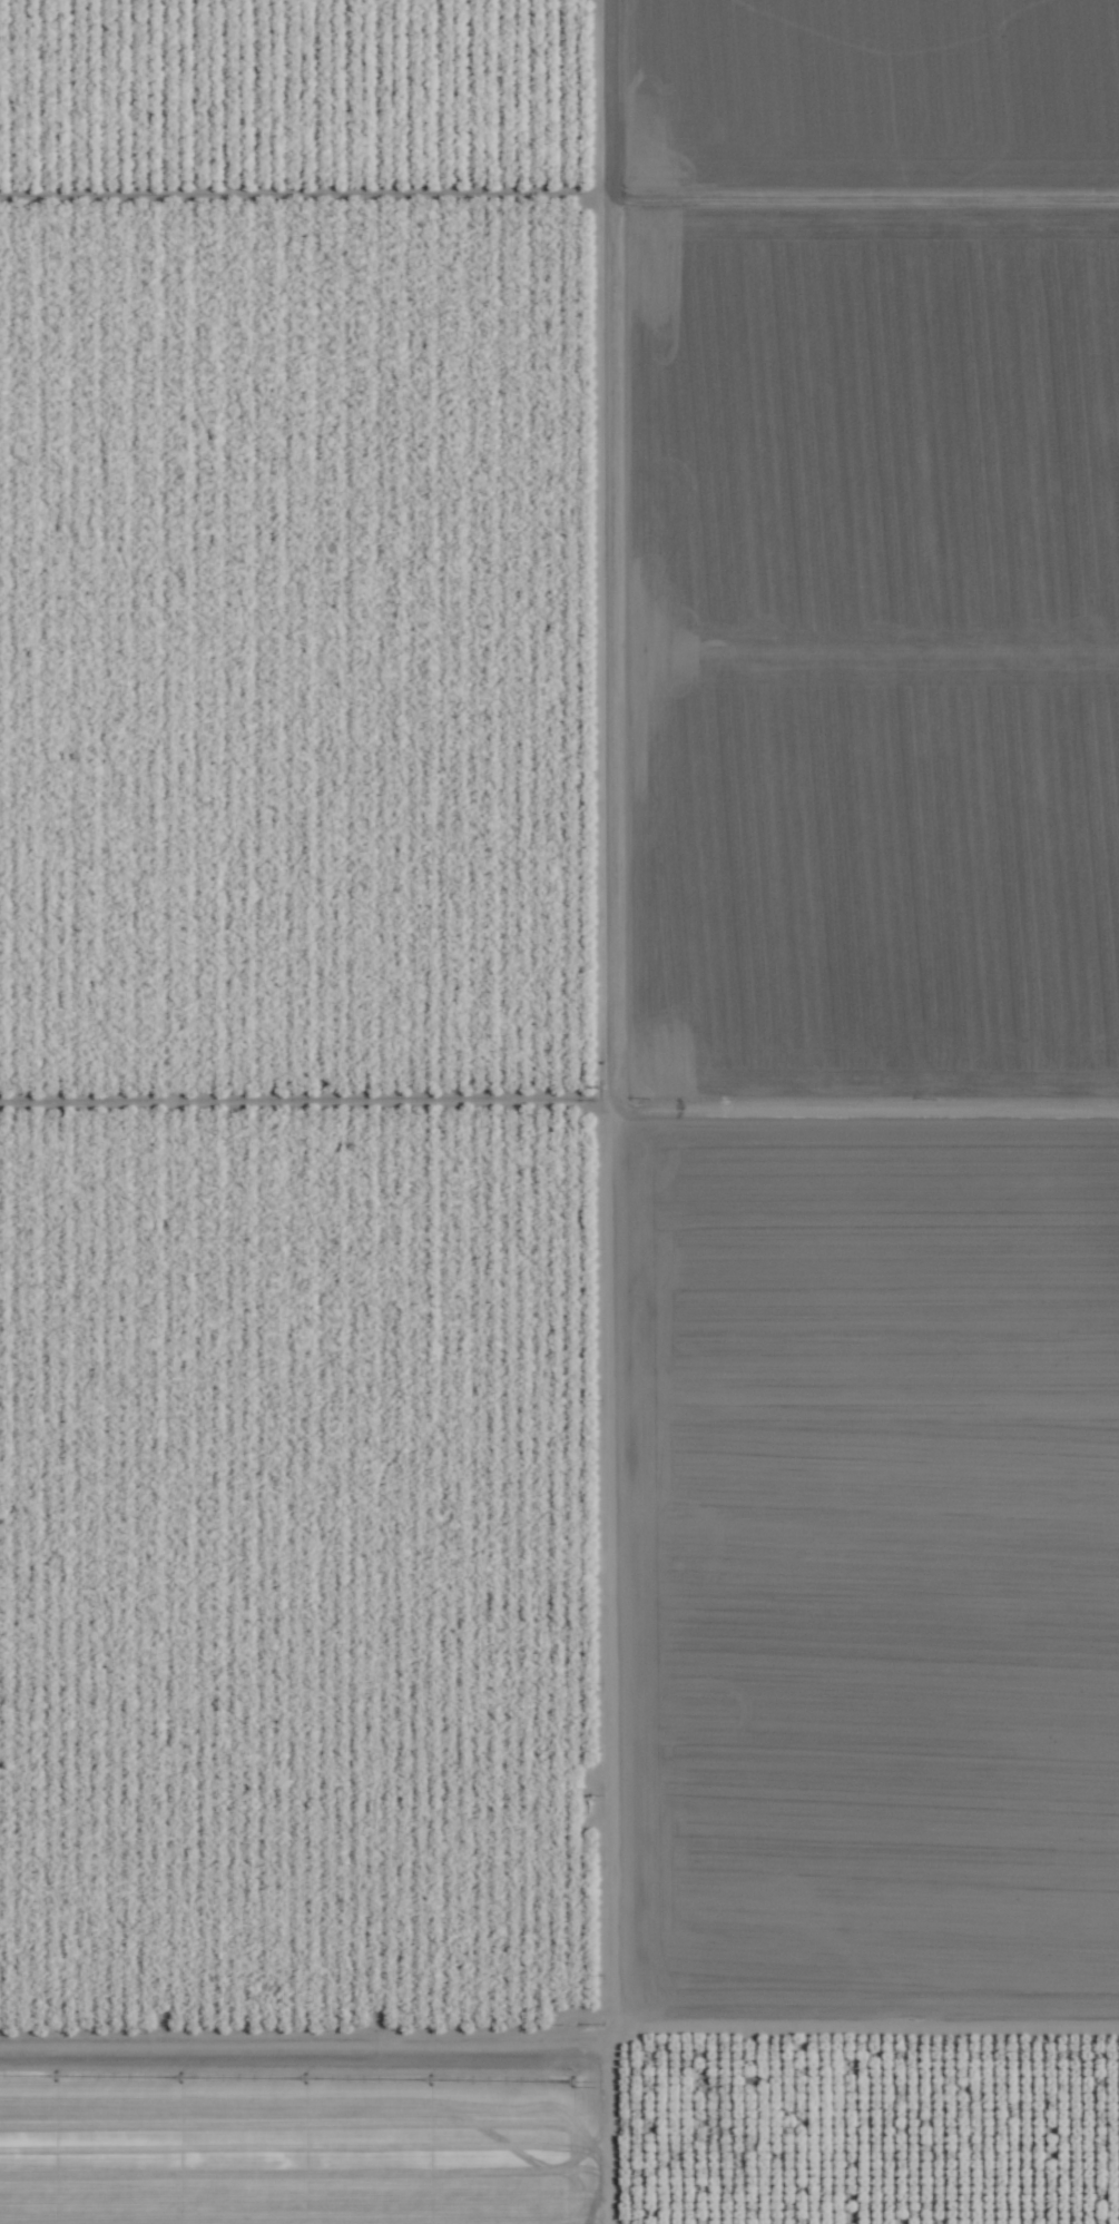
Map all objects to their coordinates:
crop: (559, 1112)
road: (581, 1393)
road: (559, 2024)

